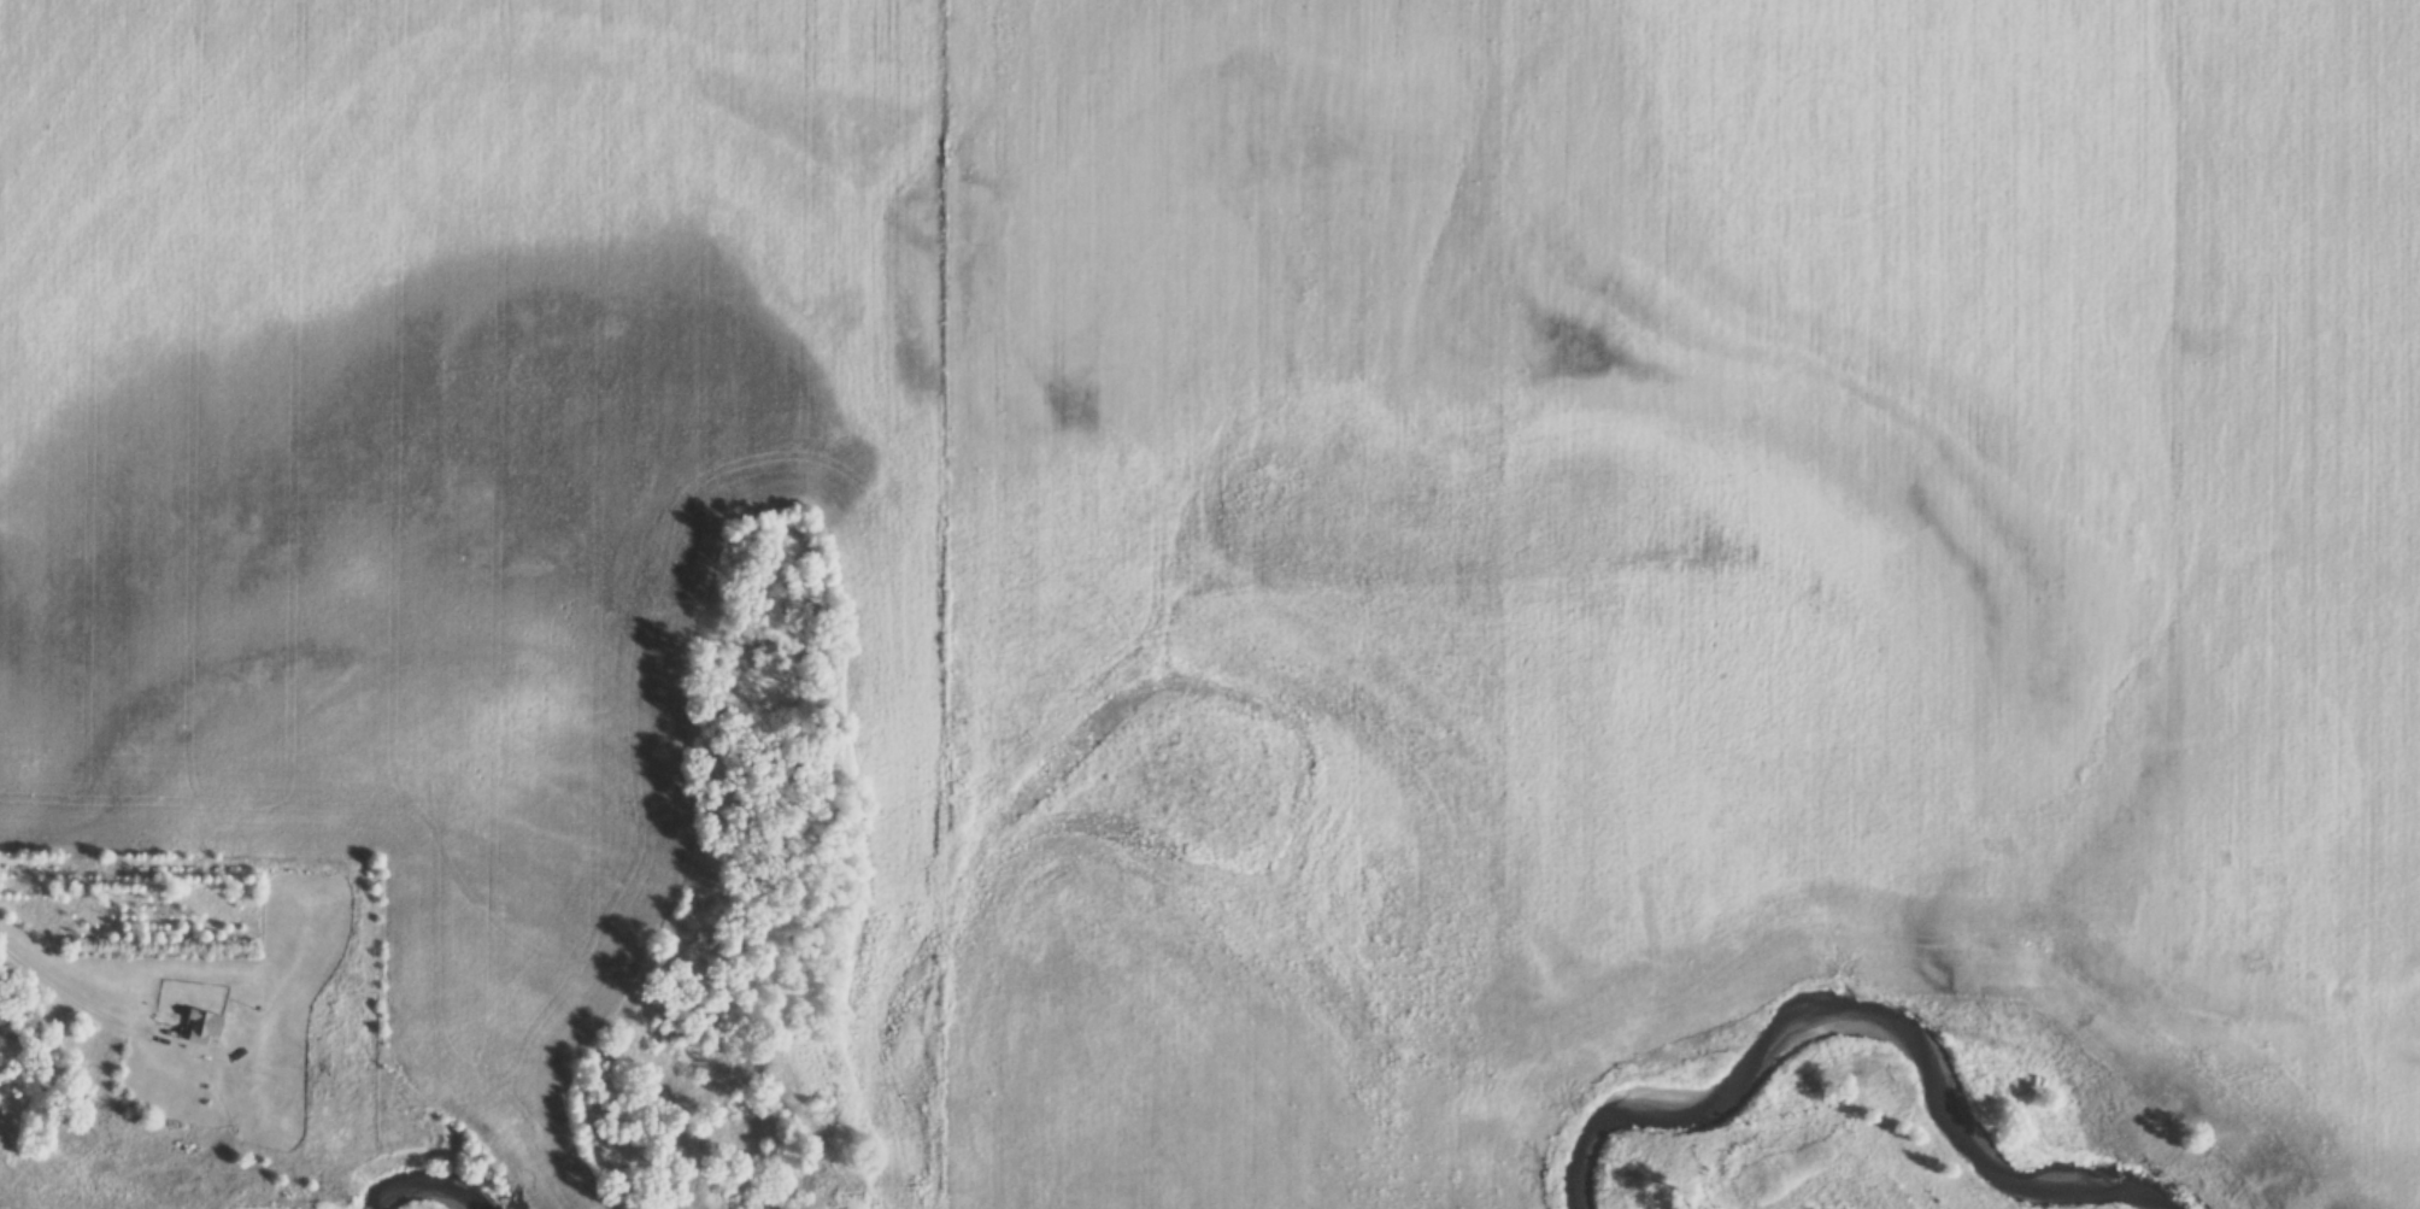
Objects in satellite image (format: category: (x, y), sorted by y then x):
crop: (1668, 569)
road: (72, 1004)
building: (204, 1029)

